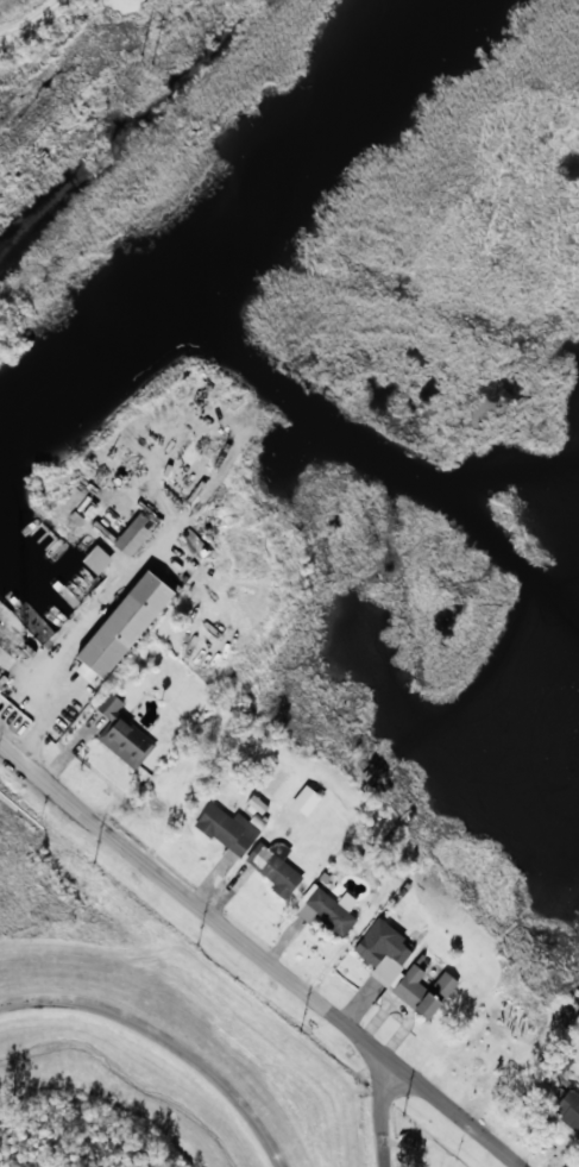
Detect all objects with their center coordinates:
power tower: (145, 59)
building: (134, 534)
building: (44, 537)
building: (97, 559)
building: (124, 626)
building: (122, 733)
building: (306, 799)
building: (257, 804)
building: (229, 829)
building: (275, 867)
building: (327, 909)
road: (262, 954)
building: (401, 968)
road: (166, 1036)
road: (383, 1113)

